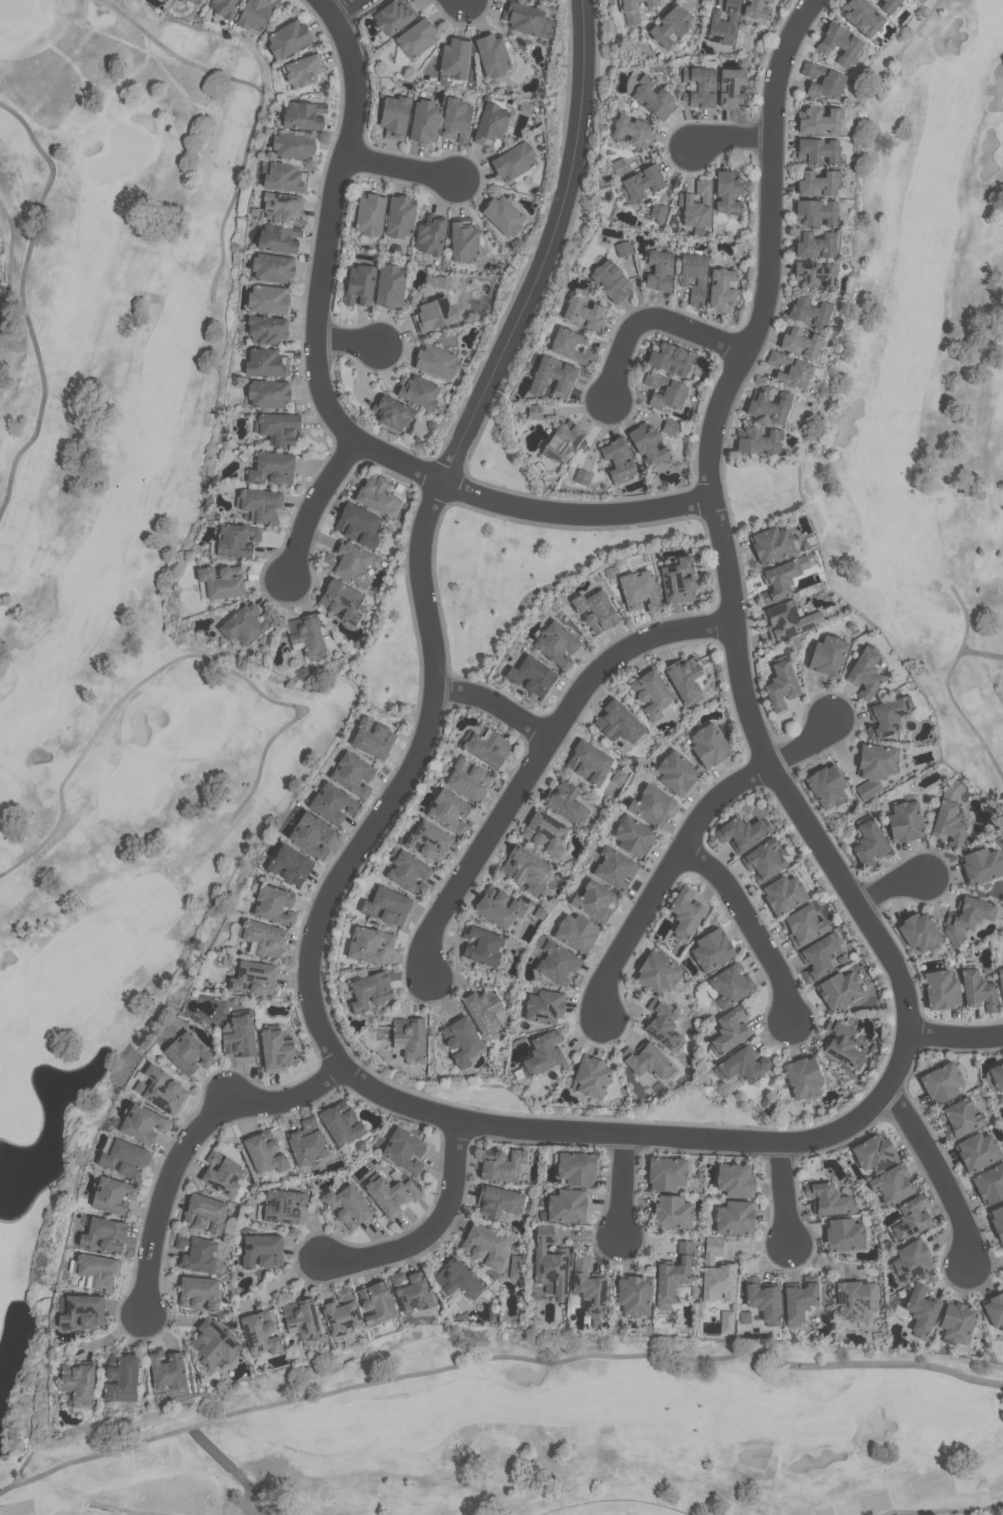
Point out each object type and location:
building: (870, 0)
building: (184, 1)
building: (196, 1)
building: (888, 5)
road: (346, 7)
building: (226, 8)
building: (634, 9)
building: (755, 10)
building: (394, 15)
building: (254, 16)
building: (861, 17)
building: (526, 18)
building: (722, 25)
building: (670, 27)
building: (417, 37)
building: (289, 38)
building: (839, 44)
building: (491, 54)
building: (455, 57)
building: (304, 68)
building: (822, 80)
building: (698, 86)
building: (731, 86)
building: (654, 97)
building: (526, 106)
building: (302, 114)
building: (394, 116)
building: (455, 119)
building: (819, 119)
building: (425, 121)
building: (490, 121)
building: (634, 129)
road: (732, 139)
building: (293, 145)
building: (818, 150)
building: (514, 160)
road: (407, 166)
building: (284, 176)
building: (643, 181)
building: (817, 182)
building: (728, 191)
building: (282, 204)
building: (696, 204)
building: (816, 212)
building: (370, 213)
building: (659, 213)
building: (503, 215)
building: (400, 217)
building: (278, 236)
building: (430, 236)
building: (462, 240)
building: (815, 244)
building: (624, 248)
road: (771, 249)
building: (272, 266)
building: (659, 270)
building: (814, 273)
building: (693, 276)
building: (612, 281)
building: (359, 284)
building: (389, 285)
building: (722, 289)
building: (268, 298)
building: (809, 310)
building: (583, 313)
building: (434, 314)
road: (653, 318)
building: (267, 330)
road: (349, 341)
building: (800, 342)
building: (571, 346)
building: (670, 358)
building: (434, 361)
building: (265, 363)
building: (790, 369)
park: (924, 374)
building: (552, 377)
building: (417, 391)
building: (268, 393)
building: (665, 393)
road: (329, 404)
building: (768, 406)
building: (391, 411)
building: (671, 425)
building: (277, 427)
building: (757, 439)
building: (564, 441)
building: (649, 443)
building: (618, 458)
building: (272, 468)
building: (582, 476)
building: (376, 494)
building: (258, 504)
road: (315, 506)
building: (357, 525)
road: (424, 539)
building: (235, 541)
building: (771, 544)
building: (346, 562)
building: (781, 578)
building: (677, 581)
building: (221, 582)
building: (639, 591)
building: (341, 600)
building: (595, 610)
building: (787, 619)
building: (246, 625)
building: (306, 637)
building: (556, 644)
building: (828, 655)
building: (865, 673)
building: (531, 675)
building: (685, 679)
building: (781, 685)
building: (651, 694)
road: (498, 703)
building: (887, 716)
building: (618, 722)
building: (371, 737)
building: (709, 745)
building: (487, 748)
road: (539, 755)
park: (162, 761)
building: (589, 763)
building: (874, 767)
building: (676, 772)
building: (352, 773)
building: (467, 779)
building: (827, 786)
building: (954, 787)
building: (332, 803)
building: (565, 804)
building: (651, 805)
building: (449, 811)
building: (905, 821)
building: (948, 825)
building: (545, 832)
building: (742, 832)
building: (310, 835)
building: (634, 836)
building: (429, 841)
road: (684, 842)
building: (869, 844)
building: (763, 859)
building: (290, 865)
building: (981, 865)
building: (614, 868)
building: (526, 869)
building: (408, 872)
road: (893, 890)
building: (783, 893)
building: (594, 901)
building: (272, 903)
building: (385, 906)
building: (498, 907)
building: (685, 913)
building: (968, 917)
road: (755, 924)
building: (803, 925)
building: (918, 931)
building: (576, 932)
building: (260, 936)
building: (369, 943)
building: (481, 946)
building: (712, 949)
building: (818, 956)
building: (555, 961)
building: (657, 972)
building: (251, 978)
building: (1000, 983)
building: (726, 987)
building: (941, 989)
building: (370, 990)
building: (839, 990)
building: (978, 991)
building: (544, 1006)
building: (483, 1011)
building: (663, 1025)
building: (729, 1031)
road: (957, 1035)
building: (239, 1036)
building: (409, 1038)
building: (461, 1040)
building: (842, 1044)
building: (274, 1050)
building: (542, 1053)
building: (187, 1054)
road: (904, 1059)
building: (647, 1061)
building: (742, 1065)
building: (997, 1075)
building: (591, 1077)
building: (802, 1077)
building: (941, 1082)
building: (164, 1092)
building: (960, 1117)
building: (143, 1123)
building: (340, 1124)
road: (190, 1143)
building: (305, 1143)
building: (404, 1149)
building: (977, 1151)
building: (874, 1152)
building: (265, 1153)
building: (124, 1159)
building: (501, 1166)
building: (576, 1168)
building: (665, 1173)
road: (944, 1173)
building: (224, 1175)
building: (735, 1180)
building: (989, 1183)
building: (891, 1184)
road: (625, 1187)
building: (114, 1194)
building: (387, 1195)
road: (788, 1199)
building: (827, 1199)
building: (498, 1202)
building: (282, 1206)
building: (347, 1206)
building: (567, 1206)
building: (672, 1212)
building: (204, 1213)
building: (734, 1218)
building: (910, 1218)
building: (997, 1220)
road: (432, 1232)
building: (104, 1234)
building: (844, 1234)
building: (486, 1246)
building: (262, 1250)
building: (195, 1253)
building: (912, 1260)
building: (549, 1261)
building: (515, 1267)
building: (94, 1271)
building: (717, 1272)
building: (673, 1275)
building: (457, 1280)
building: (587, 1286)
building: (410, 1292)
building: (198, 1293)
building: (634, 1294)
building: (854, 1298)
building: (762, 1300)
building: (798, 1302)
building: (376, 1303)
building: (994, 1309)
building: (921, 1310)
building: (80, 1312)
building: (341, 1313)
building: (745, 1315)
building: (303, 1320)
building: (727, 1321)
building: (956, 1321)
building: (260, 1333)
building: (215, 1343)
road: (494, 1359)
building: (165, 1369)
building: (121, 1378)
building: (78, 1384)
road: (234, 1468)

